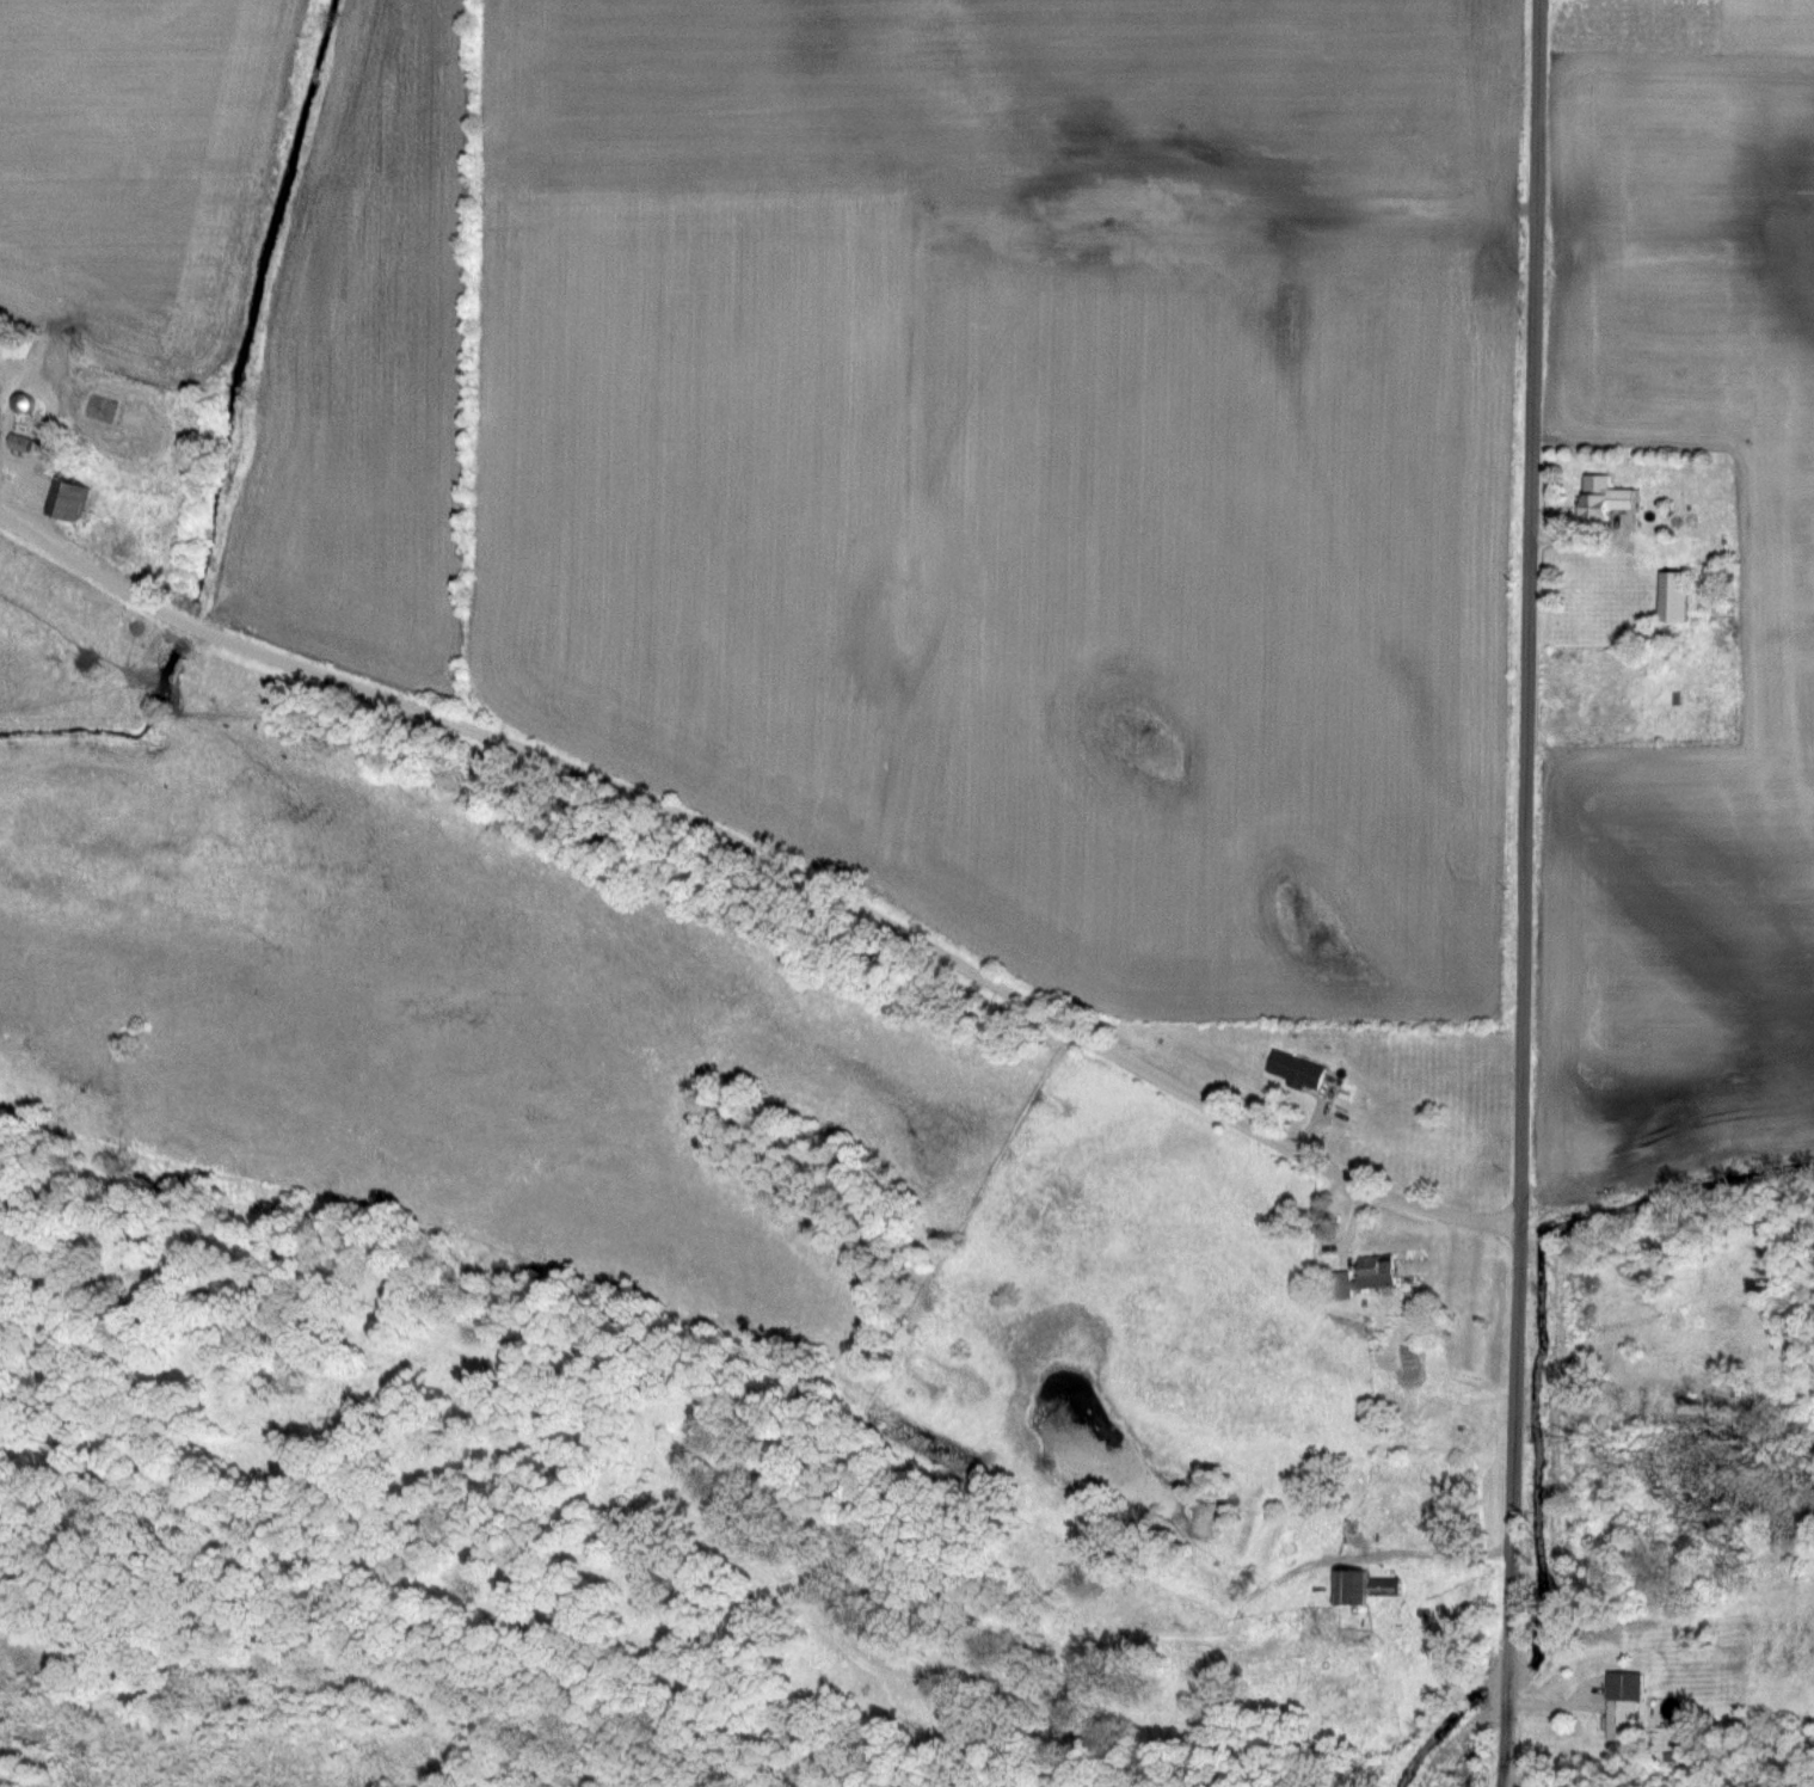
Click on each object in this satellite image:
building: (12, 441)
building: (1599, 498)
building: (60, 501)
building: (1667, 596)
road: (767, 853)
road: (1520, 854)
building: (1291, 1070)
building: (1360, 1276)
road: (1433, 1550)
building: (1345, 1585)
building: (1378, 1586)
building: (1617, 1701)
road: (1496, 1748)

